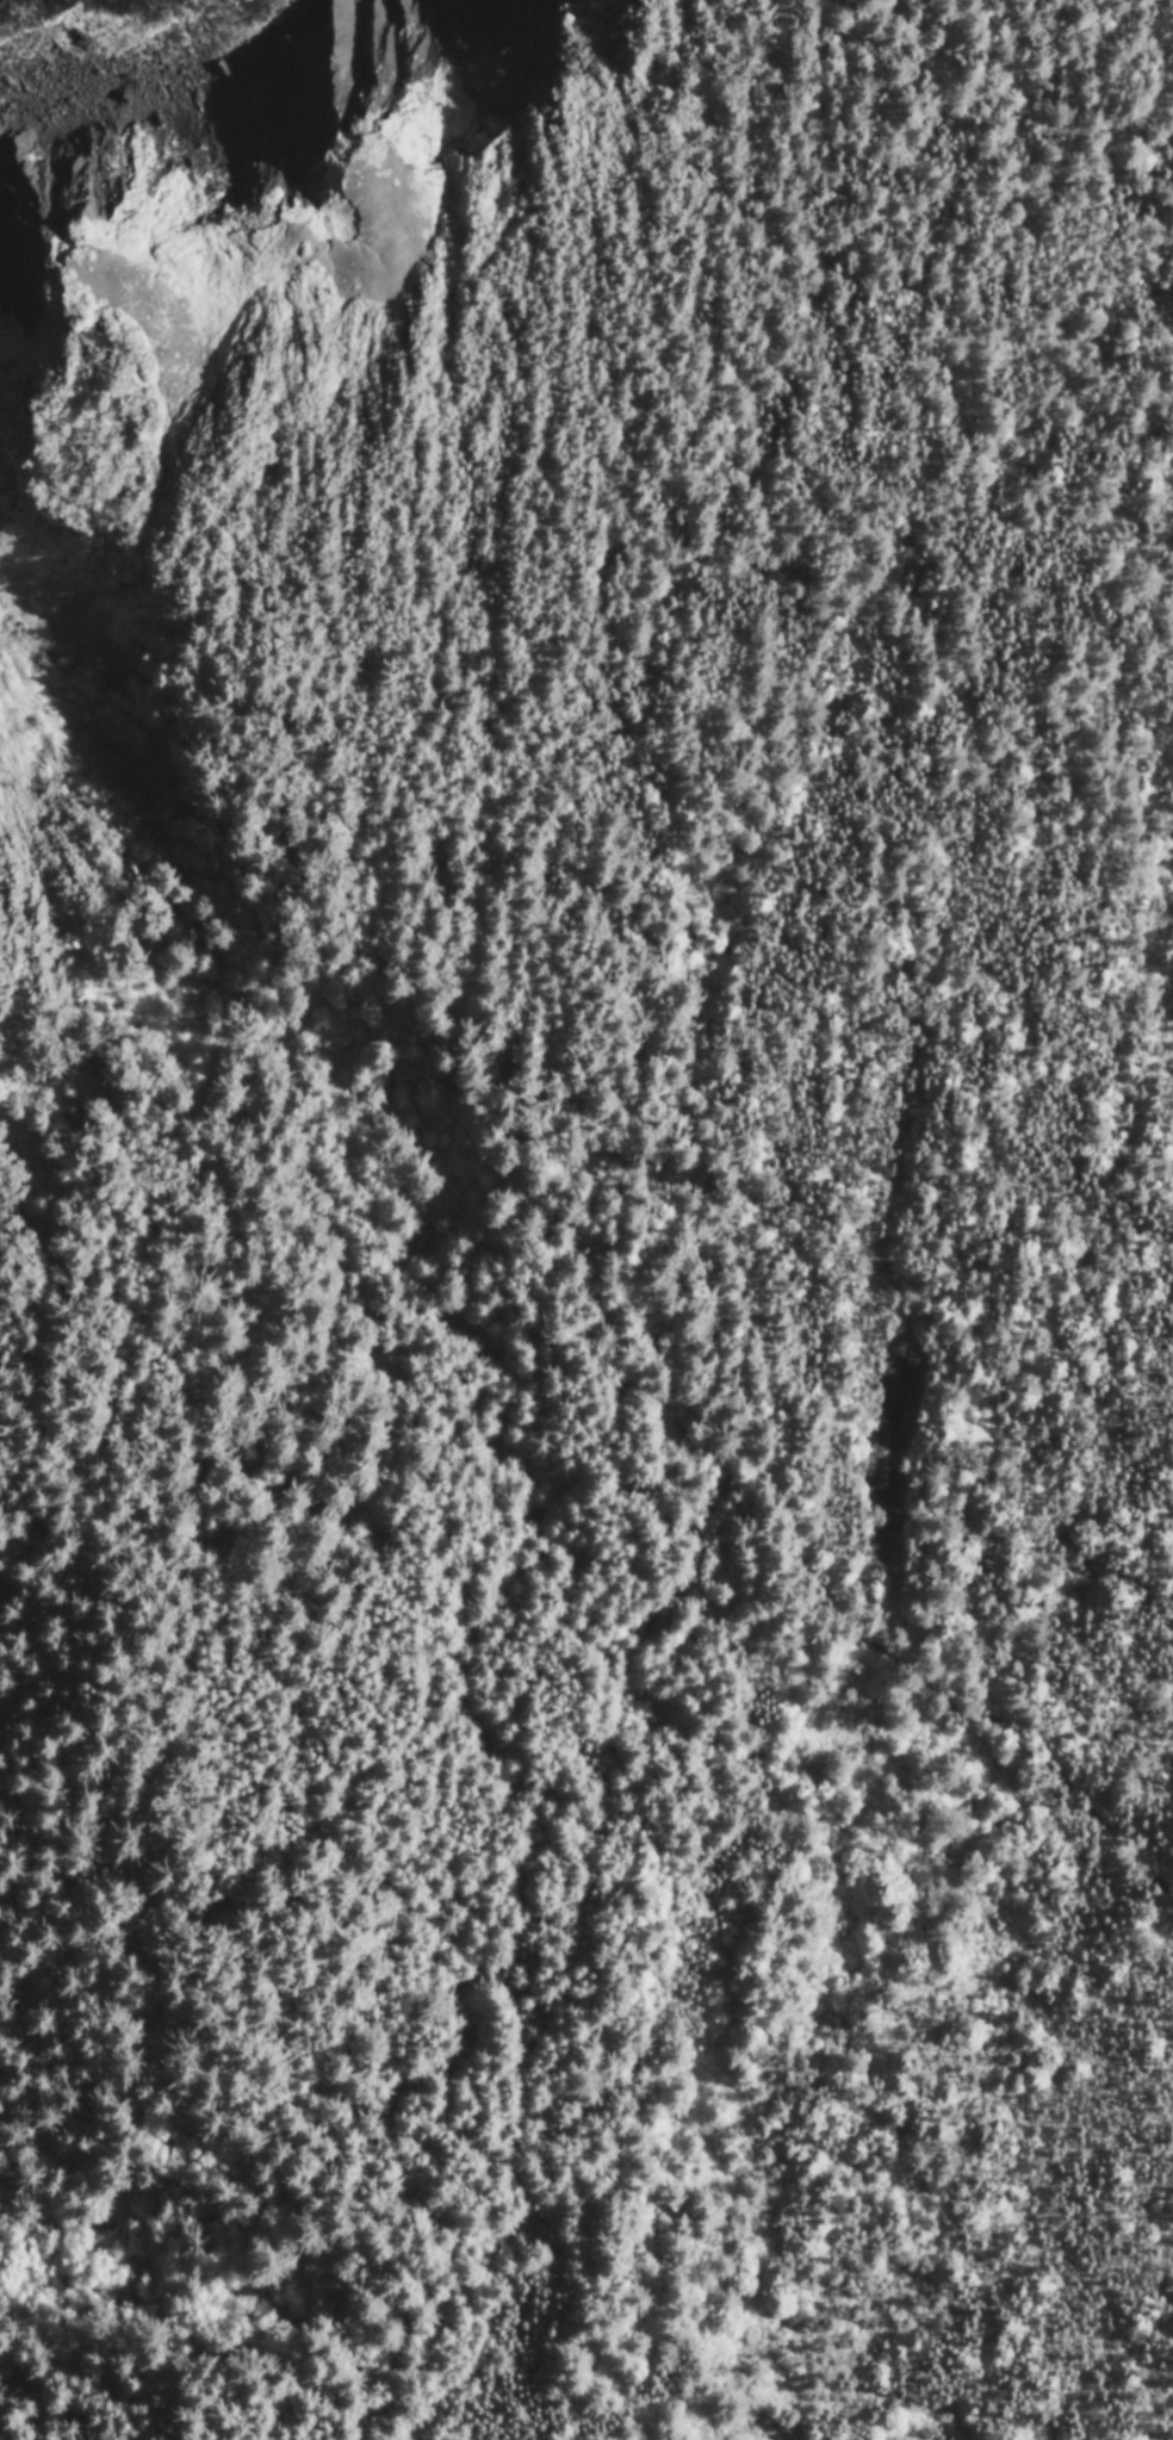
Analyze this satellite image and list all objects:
road: (405, 249)
road: (515, 731)
road: (571, 1914)

